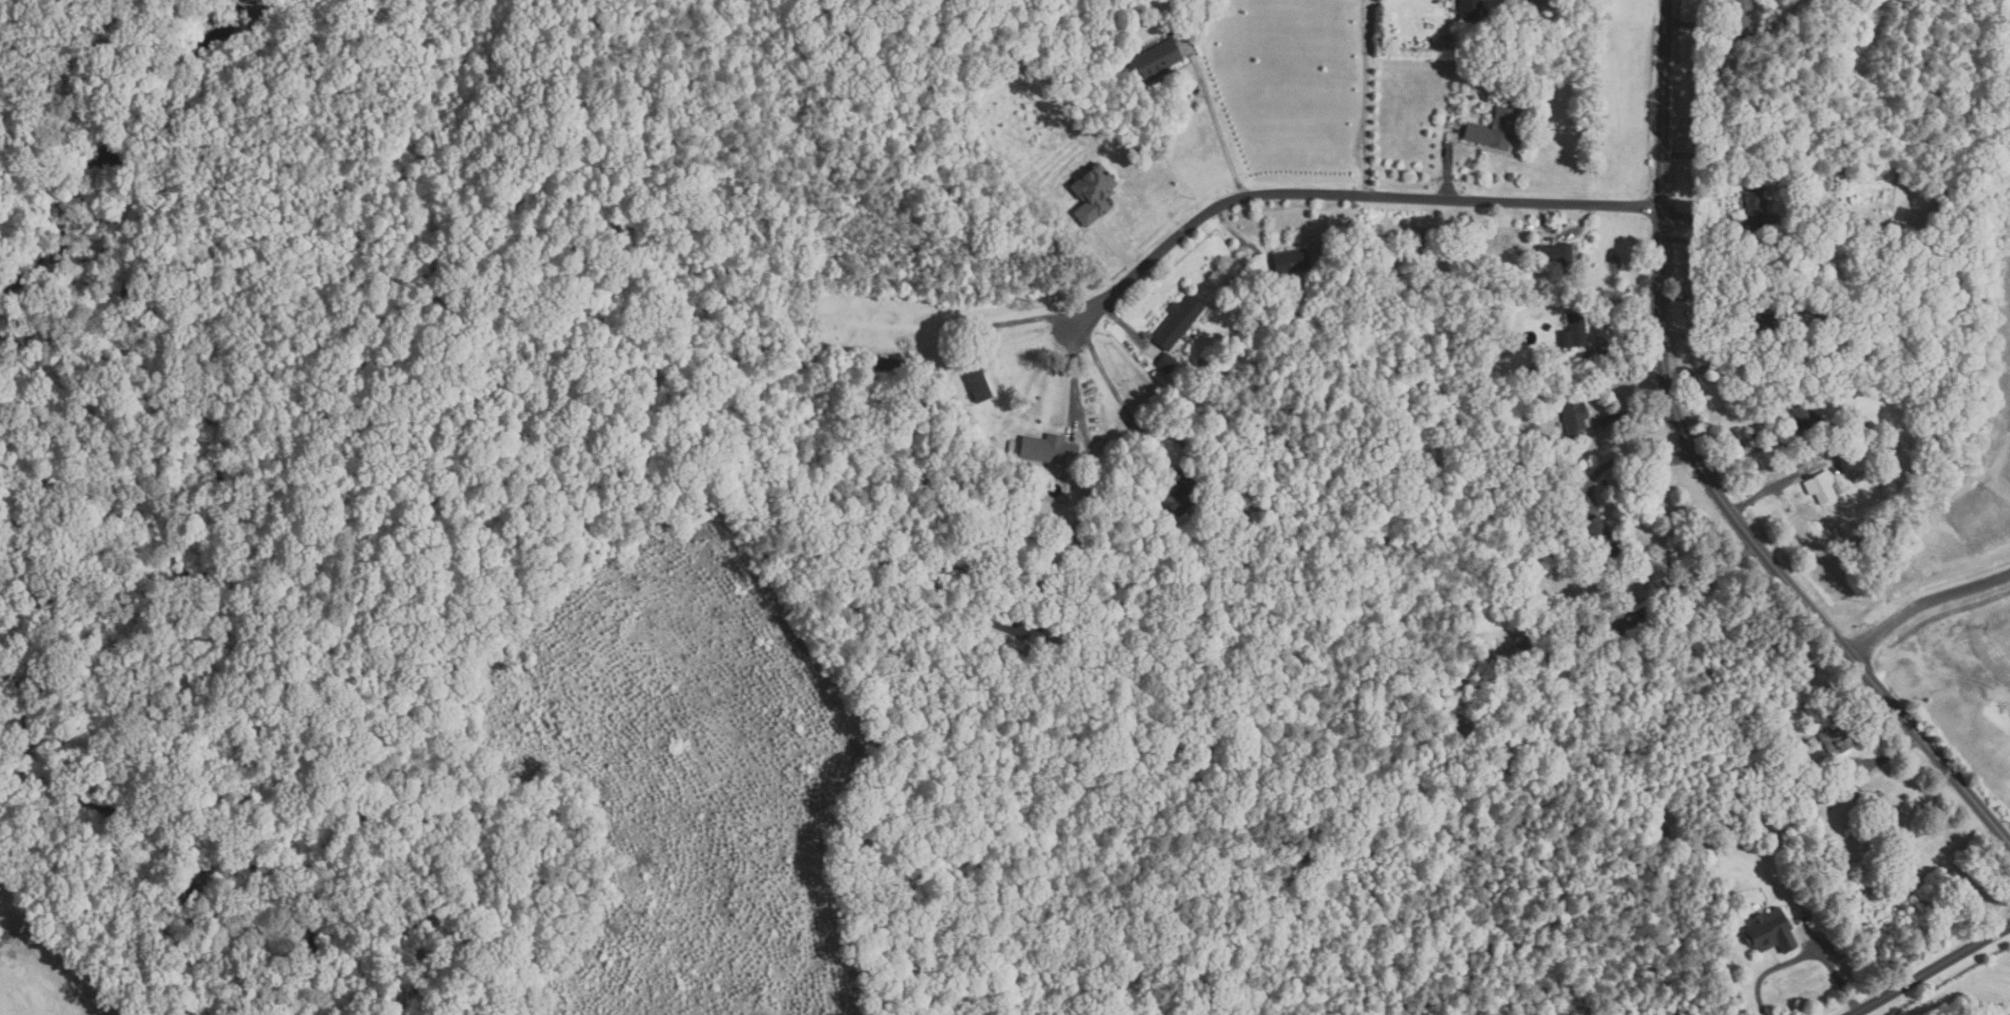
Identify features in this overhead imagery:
building: (1469, 9)
building: (1743, 15)
building: (1153, 61)
building: (1717, 68)
road: (1305, 83)
road: (1368, 84)
building: (1730, 89)
road: (1217, 124)
building: (1494, 129)
building: (1739, 144)
road: (1447, 172)
building: (1510, 177)
road: (1371, 184)
building: (1091, 193)
road: (1348, 197)
building: (1755, 200)
road: (1706, 222)
building: (1809, 222)
road: (1564, 230)
road: (1722, 240)
river: (42, 242)
building: (1427, 245)
road: (1119, 252)
river: (15, 253)
building: (1555, 257)
building: (1259, 260)
building: (1290, 260)
building: (1813, 261)
river: (38, 267)
river: (49, 280)
building: (1423, 282)
road: (1708, 298)
building: (1828, 312)
road: (1026, 319)
building: (1177, 321)
river: (22, 323)
building: (1765, 323)
road: (1127, 328)
building: (1573, 330)
building: (960, 334)
road: (1625, 350)
building: (1791, 359)
building: (1810, 360)
building: (1165, 363)
building: (887, 365)
road: (1078, 374)
building: (975, 380)
road: (1110, 385)
building: (1191, 405)
road: (1634, 414)
building: (1804, 415)
building: (1574, 418)
building: (1842, 428)
building: (1864, 428)
building: (1165, 433)
building: (1183, 439)
building: (1048, 449)
road: (1746, 454)
road: (1626, 459)
building: (1851, 461)
road: (1703, 473)
building: (1820, 487)
road: (1773, 488)
building: (1182, 492)
building: (1981, 531)
building: (1600, 541)
building: (1549, 542)
building: (1543, 546)
road: (1713, 576)
building: (1655, 587)
road: (1924, 607)
building: (1646, 620)
building: (1017, 626)
building: (1029, 655)
building: (1837, 740)
building: (1755, 750)
road: (1884, 758)
building: (1735, 803)
building: (1860, 845)
building: (1771, 932)
road: (1807, 957)
road: (1931, 969)
river: (1668, 1003)

